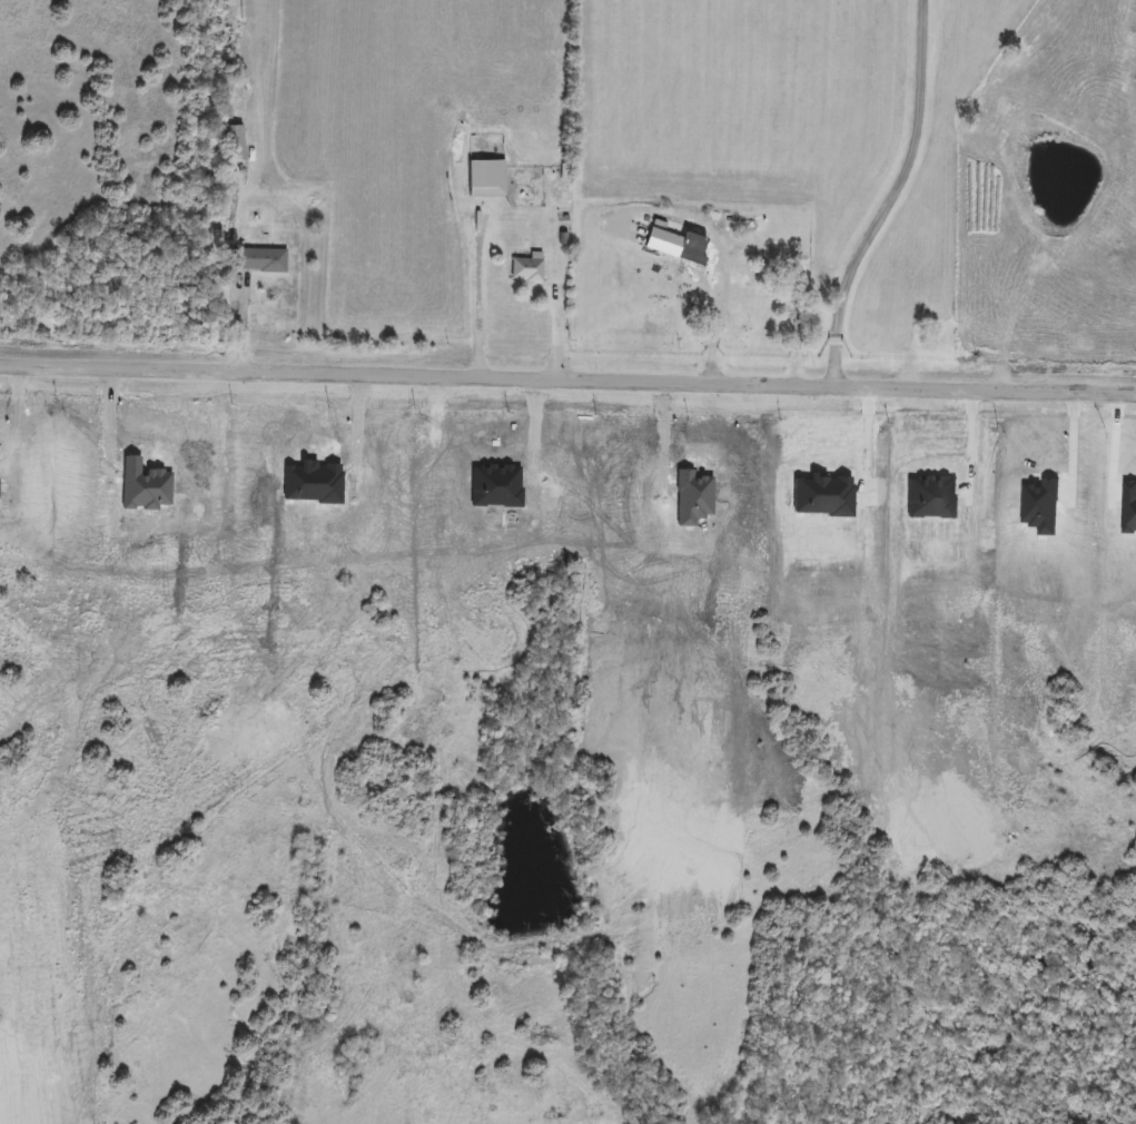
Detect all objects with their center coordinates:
building: (235, 142)
road: (892, 197)
building: (484, 199)
building: (664, 241)
road: (722, 255)
building: (264, 259)
building: (527, 269)
road: (470, 302)
building: (733, 313)
road: (567, 378)
road: (109, 418)
road: (16, 424)

